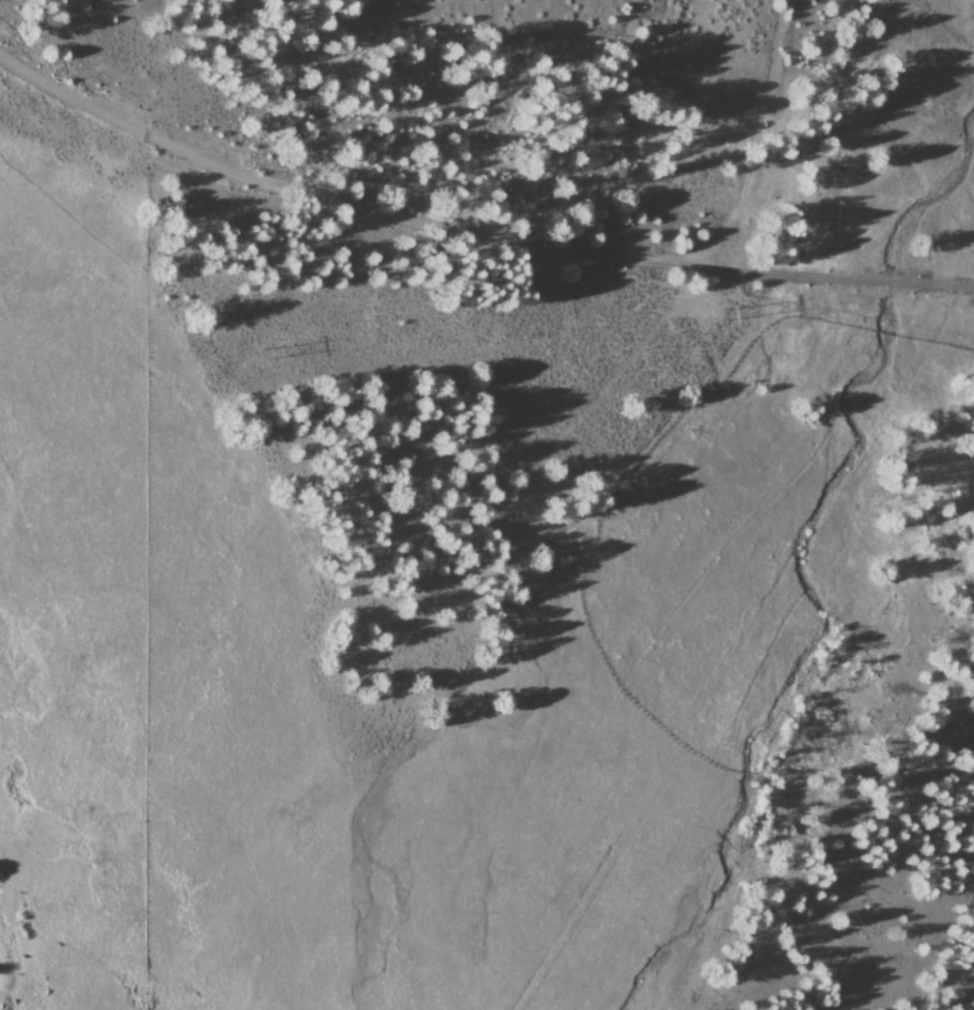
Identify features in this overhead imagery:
road: (78, 73)
road: (771, 142)
road: (559, 236)
power tower: (720, 310)
power tower: (254, 353)

